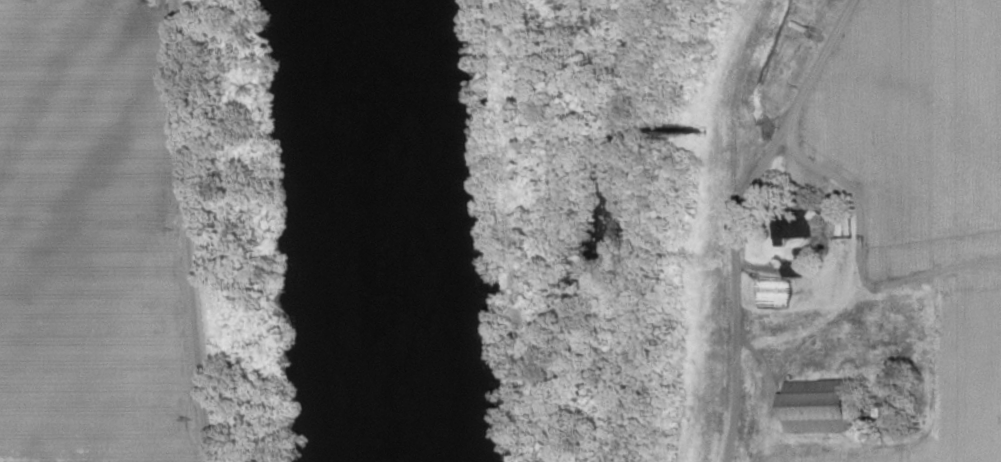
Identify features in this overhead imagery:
road: (728, 105)
road: (845, 203)
road: (737, 218)
building: (788, 223)
road: (183, 231)
river: (387, 231)
building: (788, 271)
building: (815, 405)

